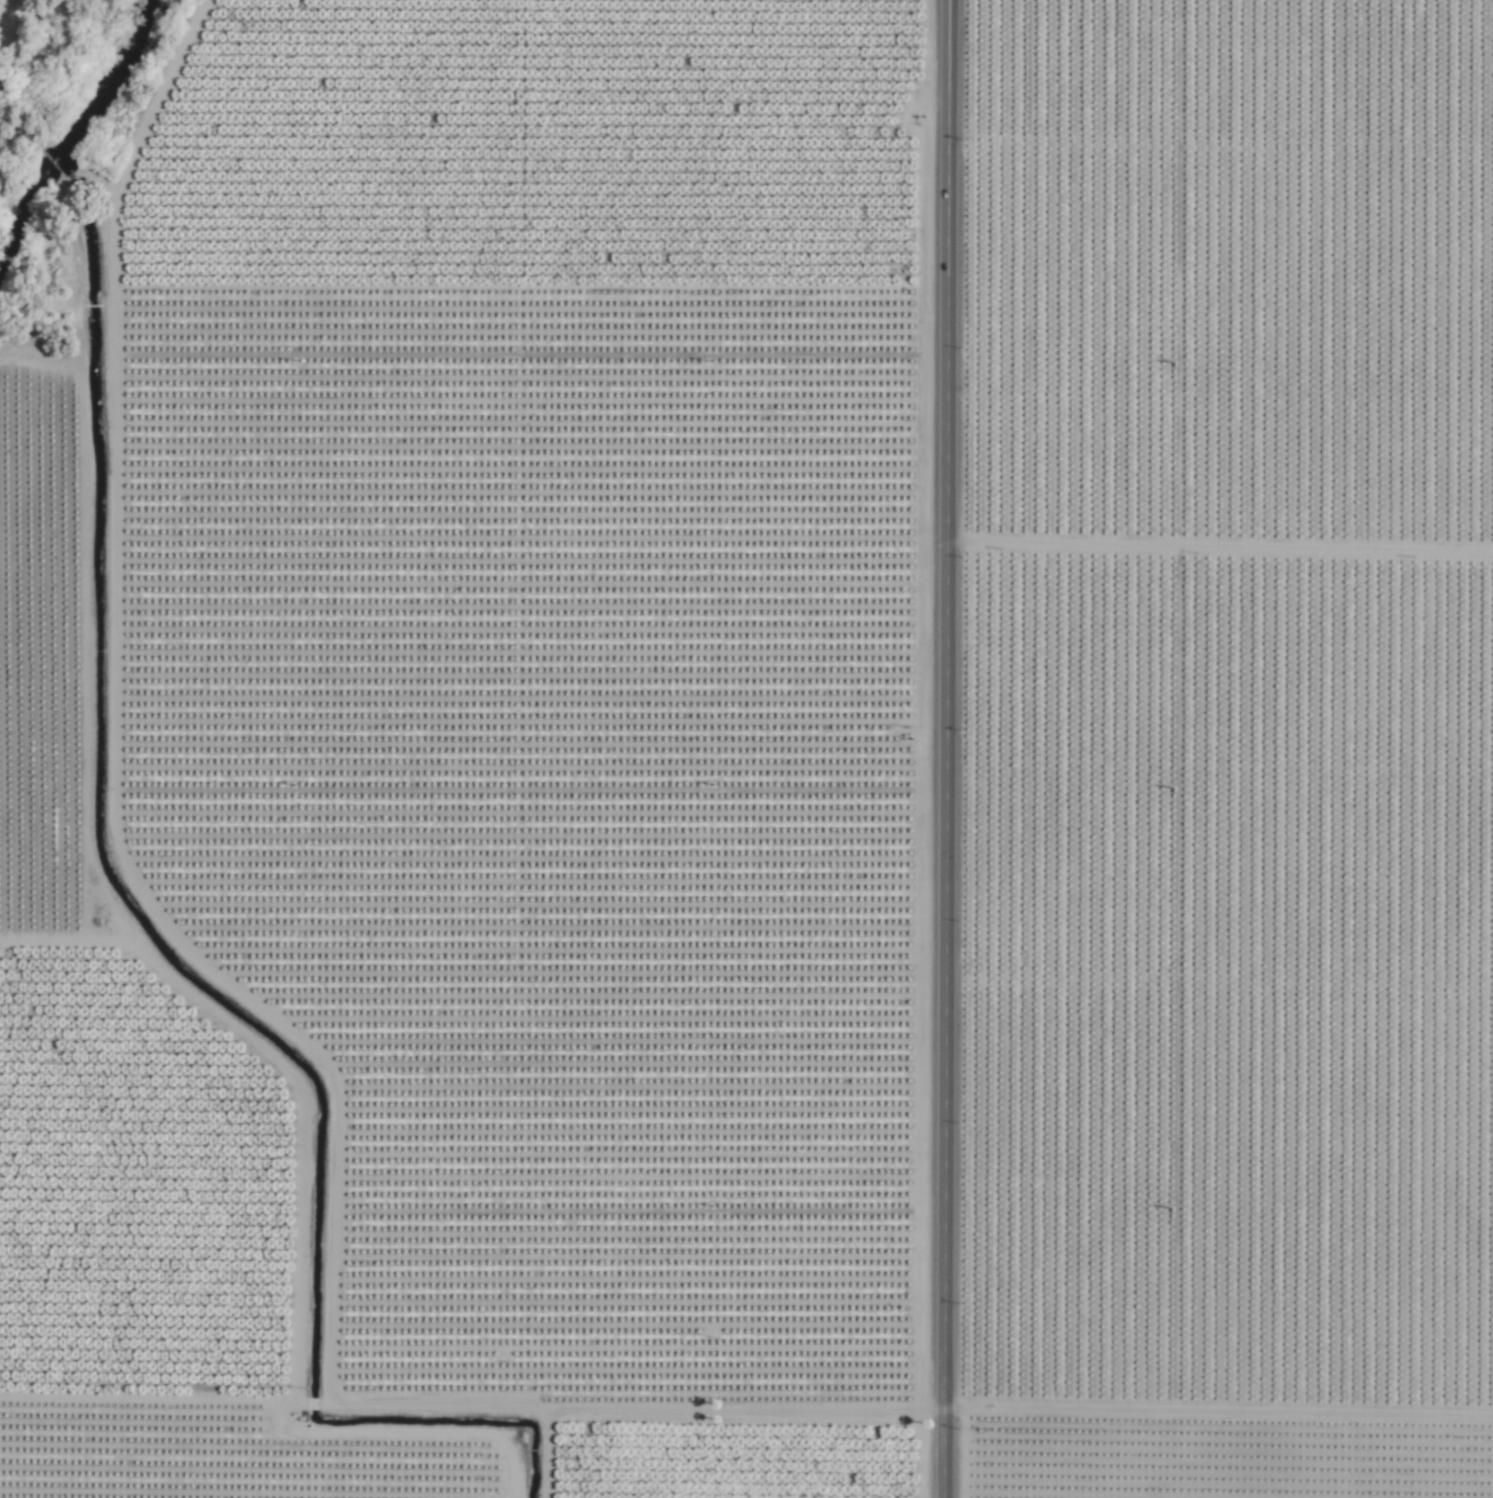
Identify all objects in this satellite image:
road: (936, 748)
crop: (104, 1024)

